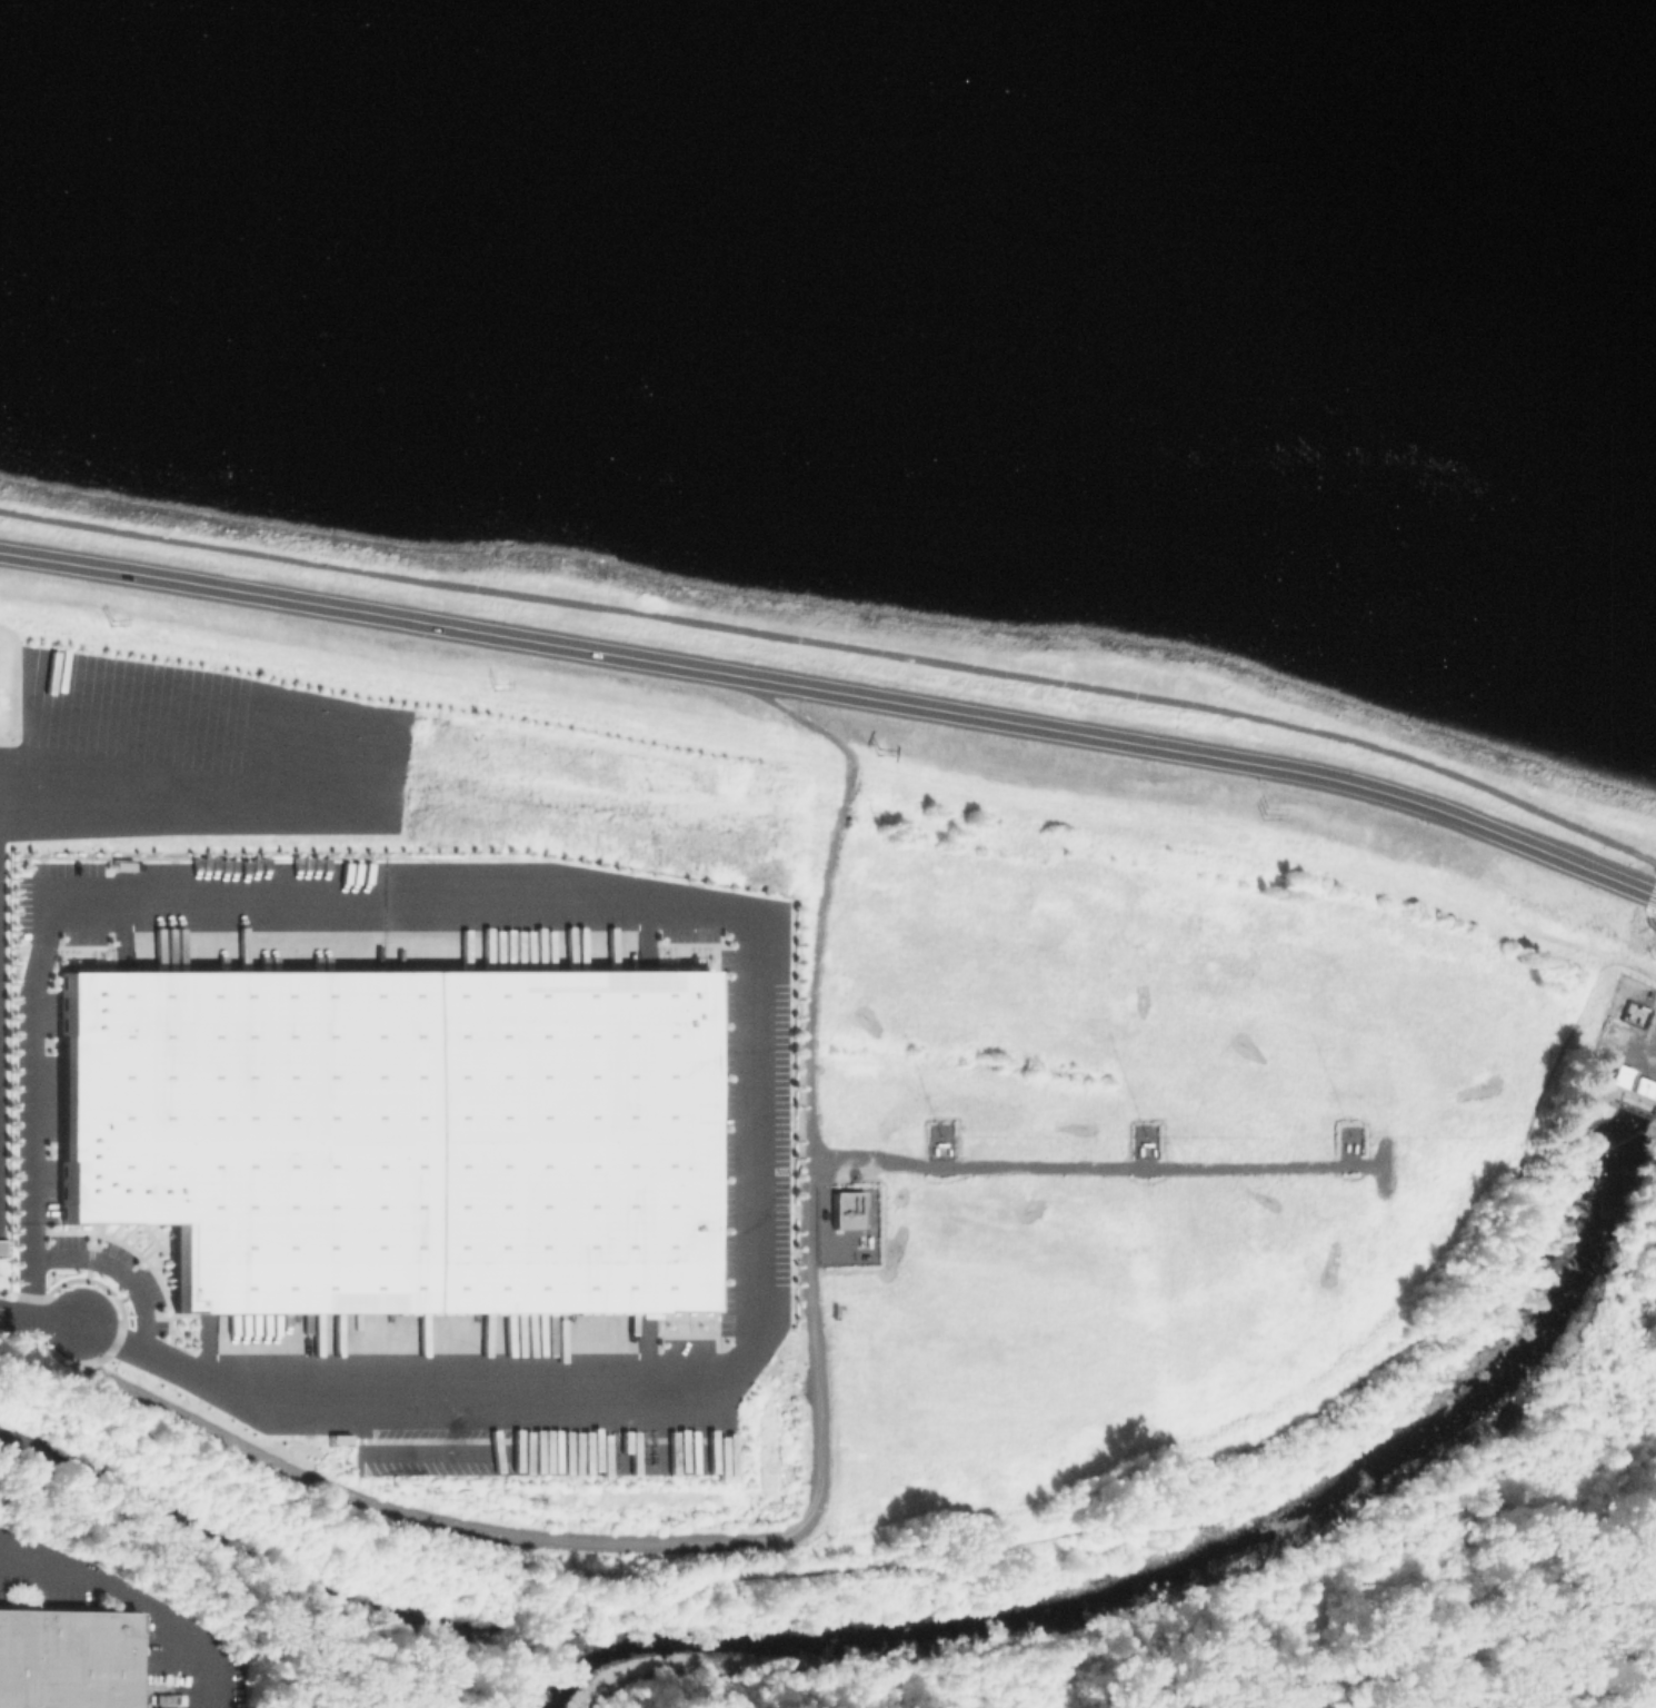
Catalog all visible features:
road: (839, 644)
road: (836, 693)
road: (193, 784)
road: (1649, 912)
road: (754, 924)
building: (1628, 1083)
building: (392, 1150)
road: (1096, 1166)
building: (846, 1211)
road: (119, 1269)
road: (40, 1319)
road: (819, 1468)
road: (1170, 1483)
road: (54, 1581)
road: (131, 1595)
building: (68, 1659)

